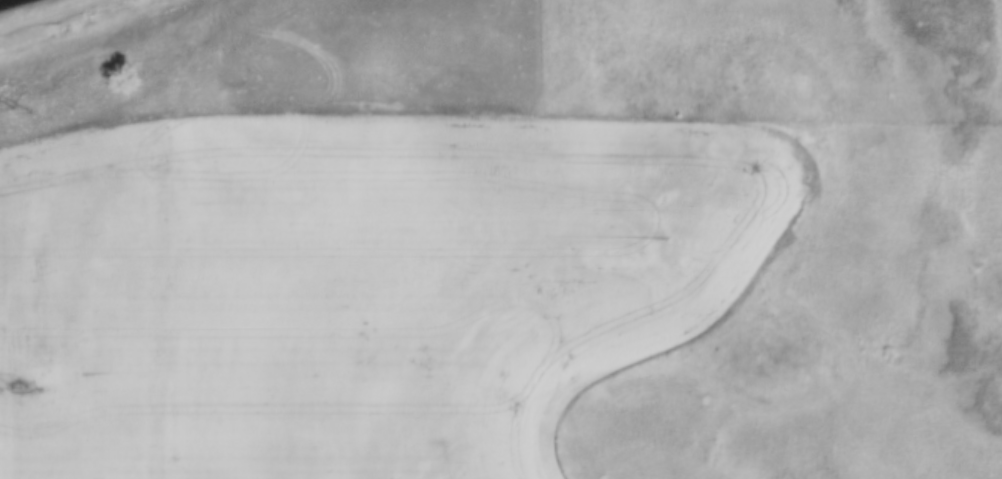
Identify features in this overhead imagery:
power tower: (10, 107)
power tower: (19, 389)

